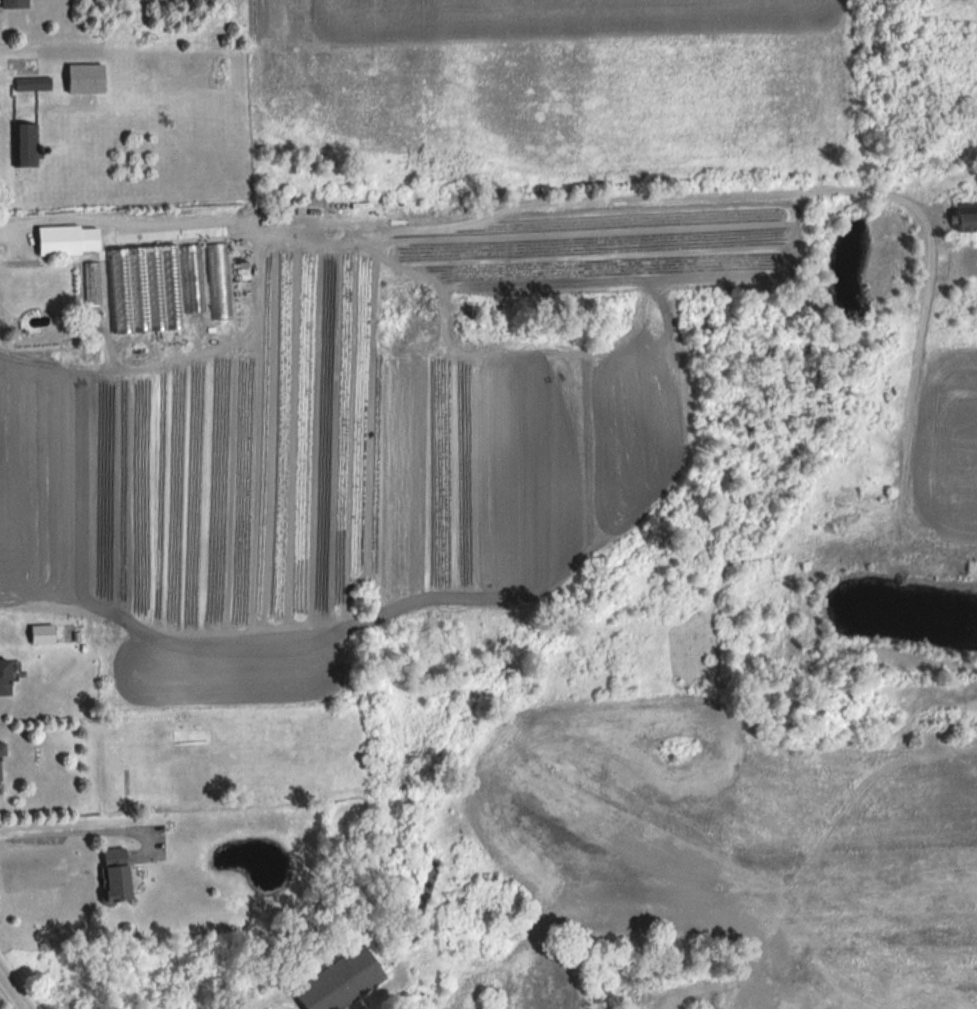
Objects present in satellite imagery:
building: (12, 3)
building: (81, 79)
crop: (556, 80)
building: (31, 84)
building: (23, 145)
building: (87, 148)
building: (963, 216)
road: (120, 225)
building: (65, 240)
building: (219, 281)
building: (140, 291)
building: (193, 307)
crop: (559, 315)
crop: (370, 429)
building: (87, 641)
building: (2, 677)
building: (0, 749)
road: (69, 833)
building: (110, 874)
building: (419, 901)
building: (349, 976)
road: (11, 993)

